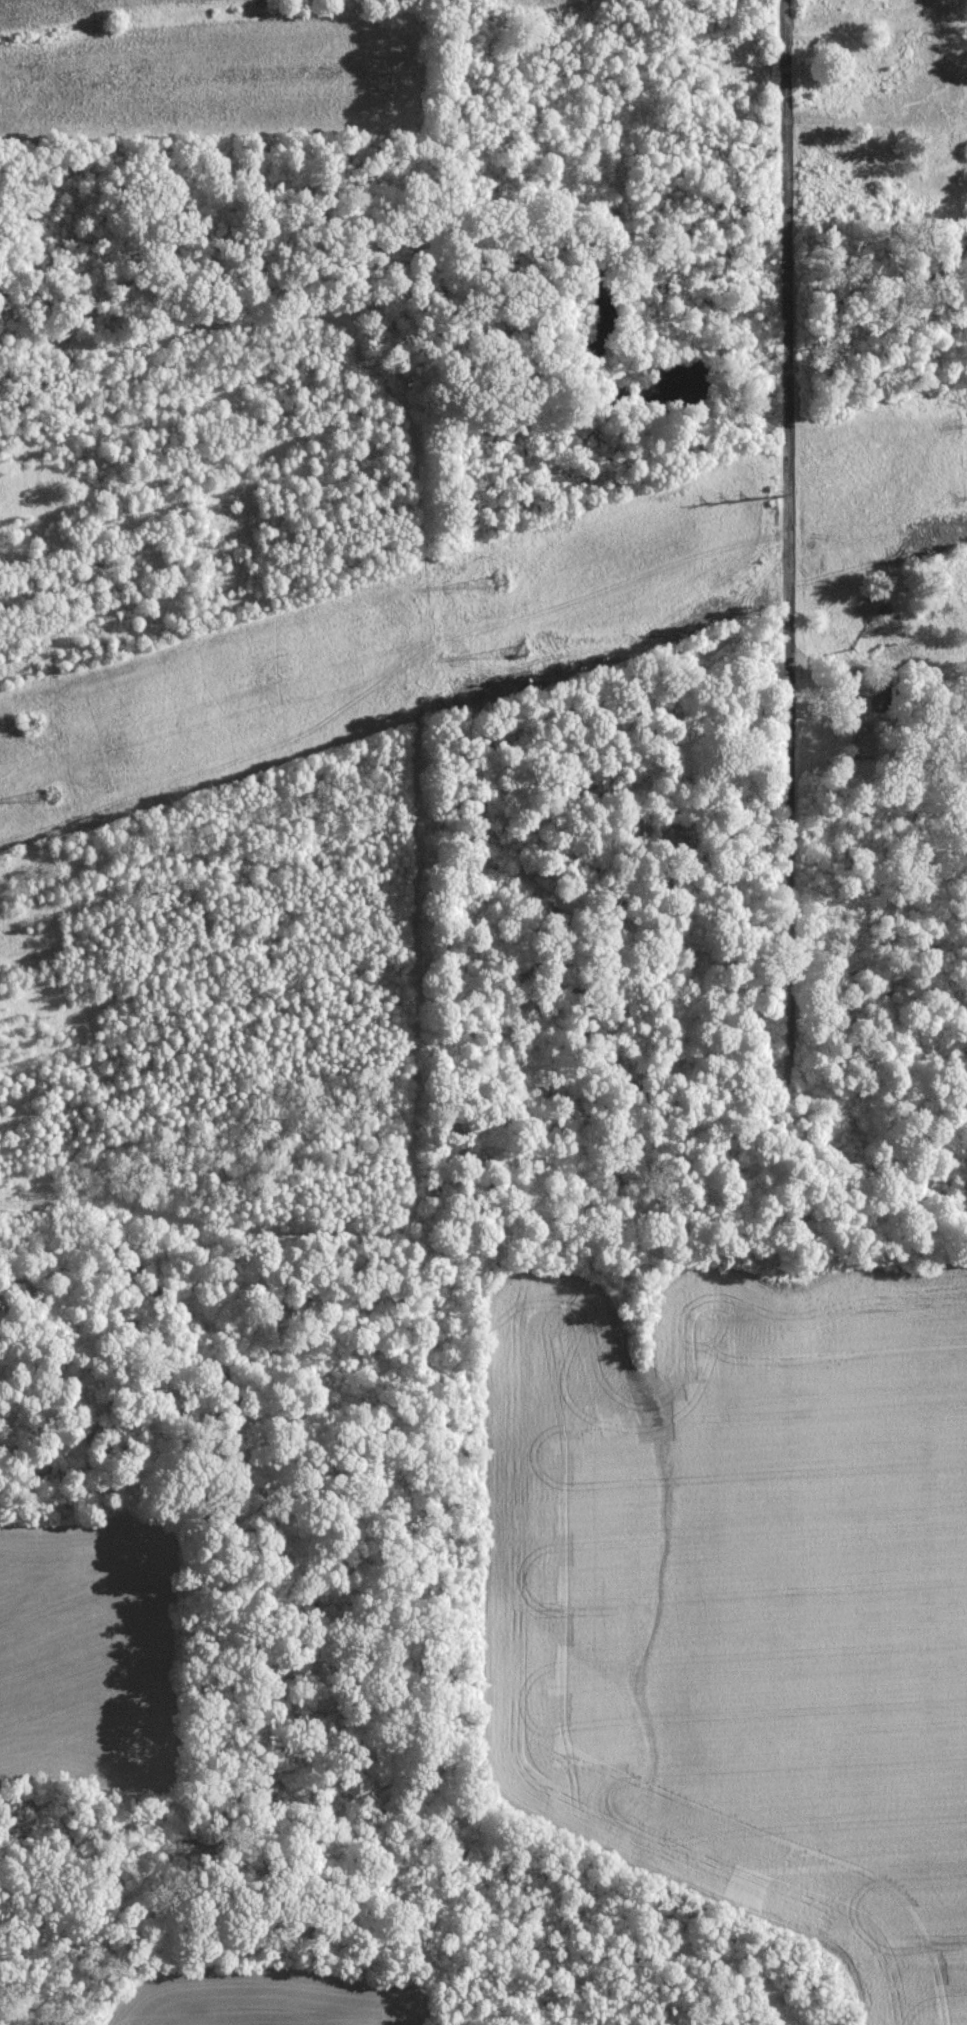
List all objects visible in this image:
power tower: (771, 494)
road: (789, 532)
power tower: (498, 579)
power tower: (522, 649)
road: (852, 658)
power tower: (32, 722)
building: (864, 726)
power tower: (55, 792)
crop: (745, 1595)
crop: (263, 2000)

